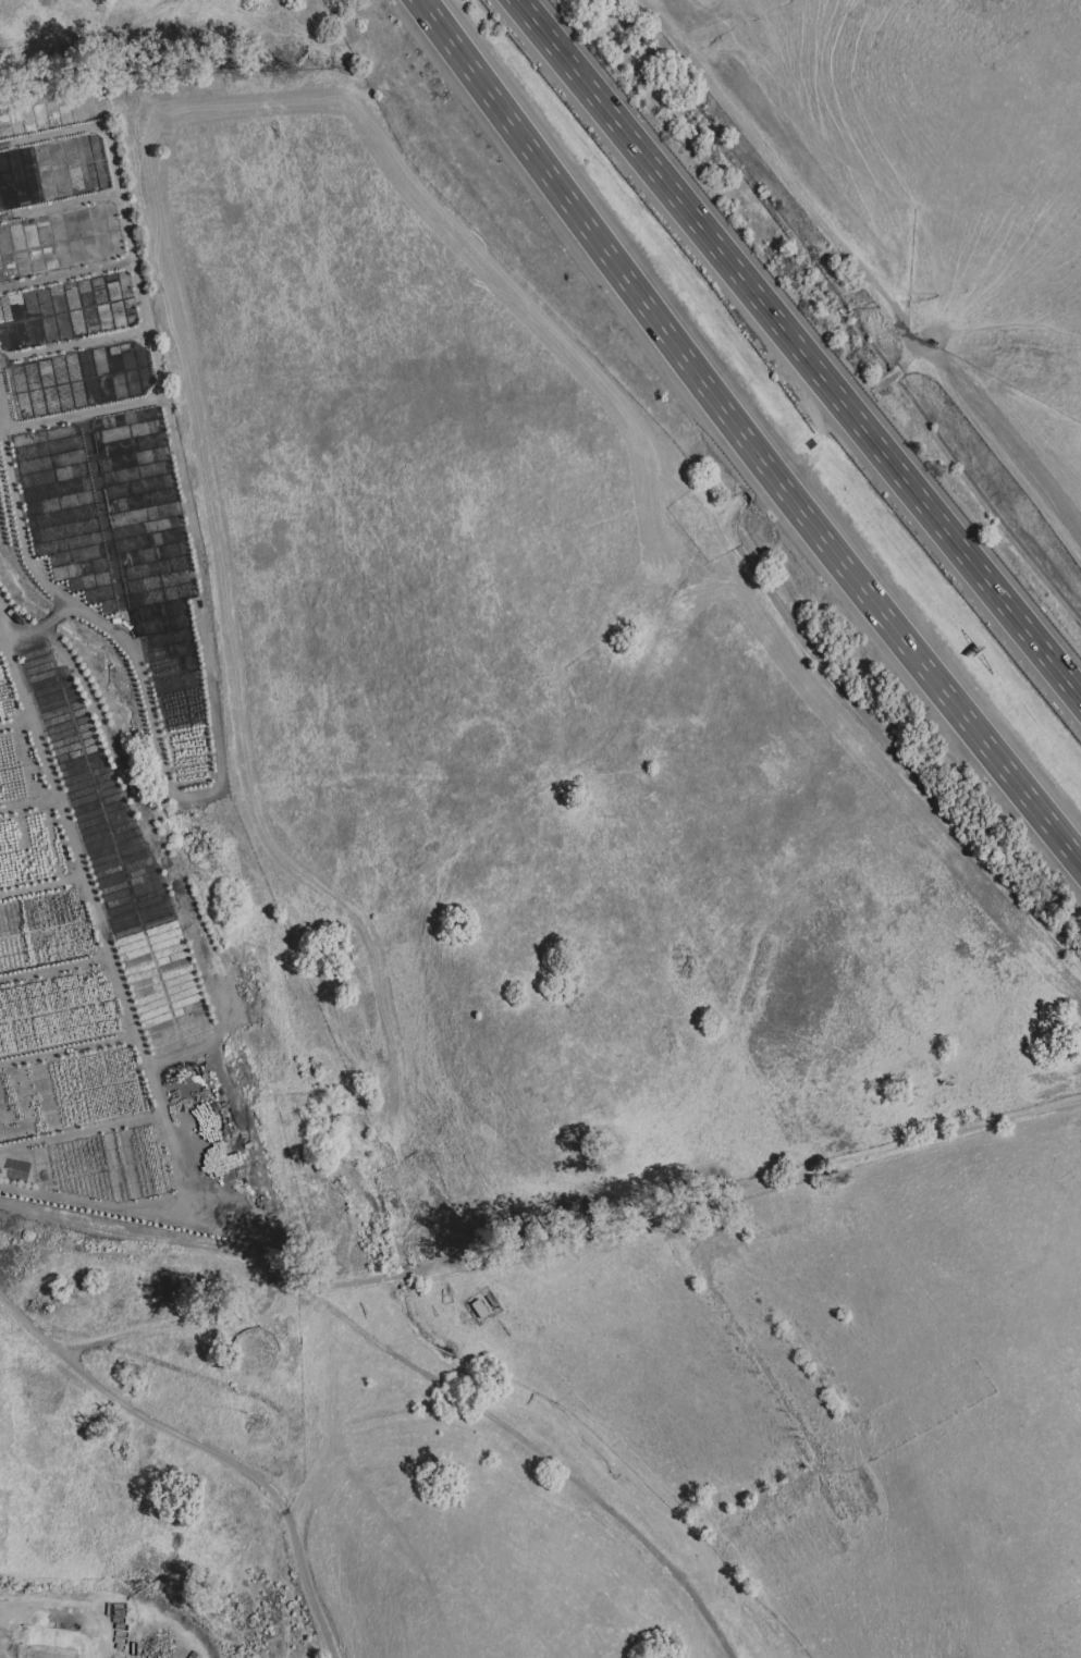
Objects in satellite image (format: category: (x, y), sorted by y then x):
road: (794, 186)
road: (59, 206)
road: (66, 277)
road: (139, 295)
road: (74, 347)
road: (800, 347)
road: (1, 429)
road: (745, 432)
road: (815, 443)
road: (885, 738)
building: (185, 1081)
building: (188, 1097)
building: (426, 1176)
road: (746, 1193)
building: (435, 1202)
building: (452, 1218)
building: (456, 1235)
building: (450, 1243)
road: (403, 1278)
building: (220, 1282)
building: (243, 1304)
building: (480, 1312)
road: (230, 1316)
building: (505, 1331)
building: (270, 1386)
building: (91, 1404)
road: (209, 1442)
building: (85, 1453)
building: (183, 1453)
road: (541, 1453)
road: (312, 1478)
road: (361, 1488)
building: (246, 1495)
building: (279, 1525)
building: (268, 1569)
road: (72, 1607)

